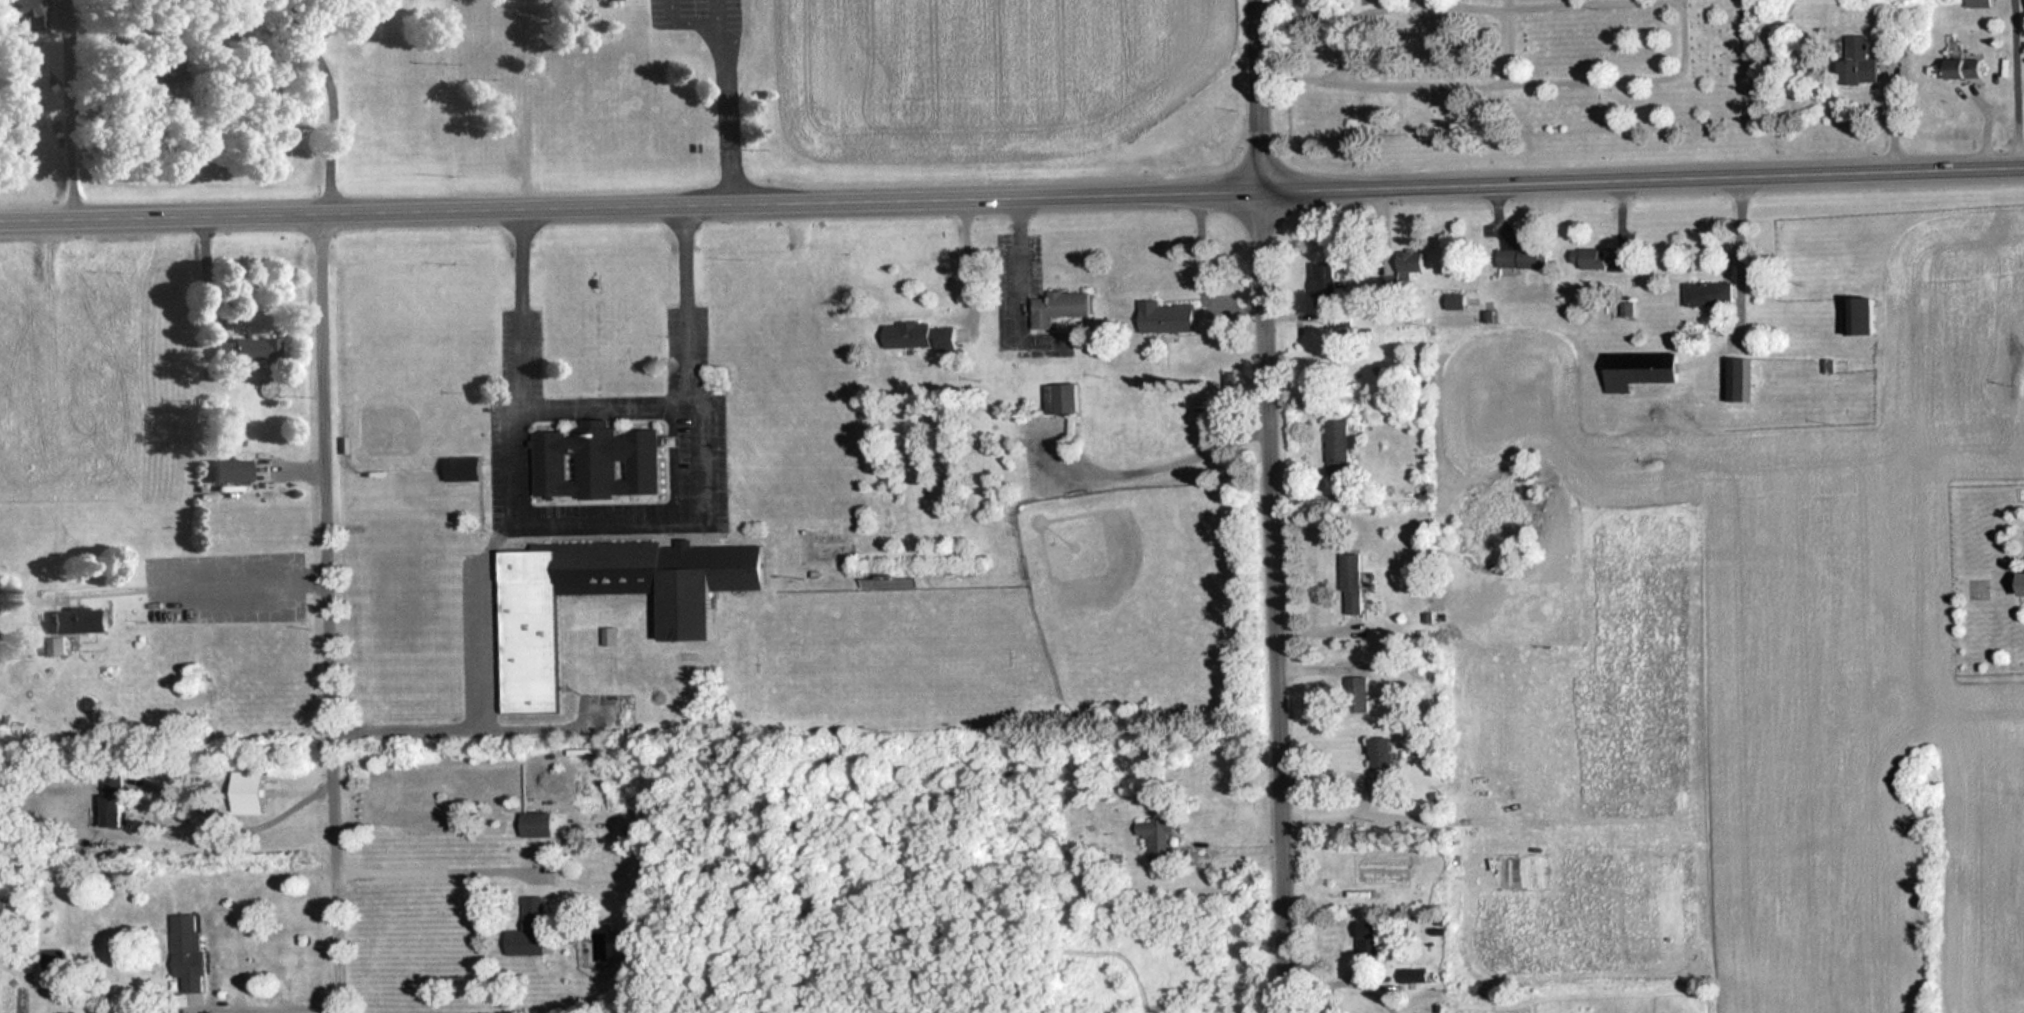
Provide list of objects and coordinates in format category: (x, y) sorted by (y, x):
building: (1983, 3)
building: (24, 10)
building: (1863, 62)
building: (167, 67)
park: (1502, 69)
road: (1012, 195)
building: (1525, 257)
building: (1600, 260)
building: (1419, 262)
building: (1326, 274)
building: (1711, 295)
building: (1458, 301)
building: (1068, 310)
building: (1865, 317)
building: (1177, 318)
building: (930, 338)
building: (247, 351)
building: (1643, 371)
building: (1738, 380)
building: (1063, 399)
building: (1338, 450)
building: (608, 462)
building: (466, 469)
building: (231, 471)
road: (1269, 506)
building: (889, 582)
building: (1354, 584)
park: (1145, 597)
road: (328, 612)
building: (80, 619)
building: (544, 619)
building: (612, 636)
park: (891, 660)
building: (1359, 696)
building: (1383, 754)
building: (250, 793)
building: (117, 799)
building: (539, 823)
building: (1159, 839)
building: (532, 928)
building: (1371, 941)
building: (189, 950)
building: (56, 958)
building: (1417, 976)

